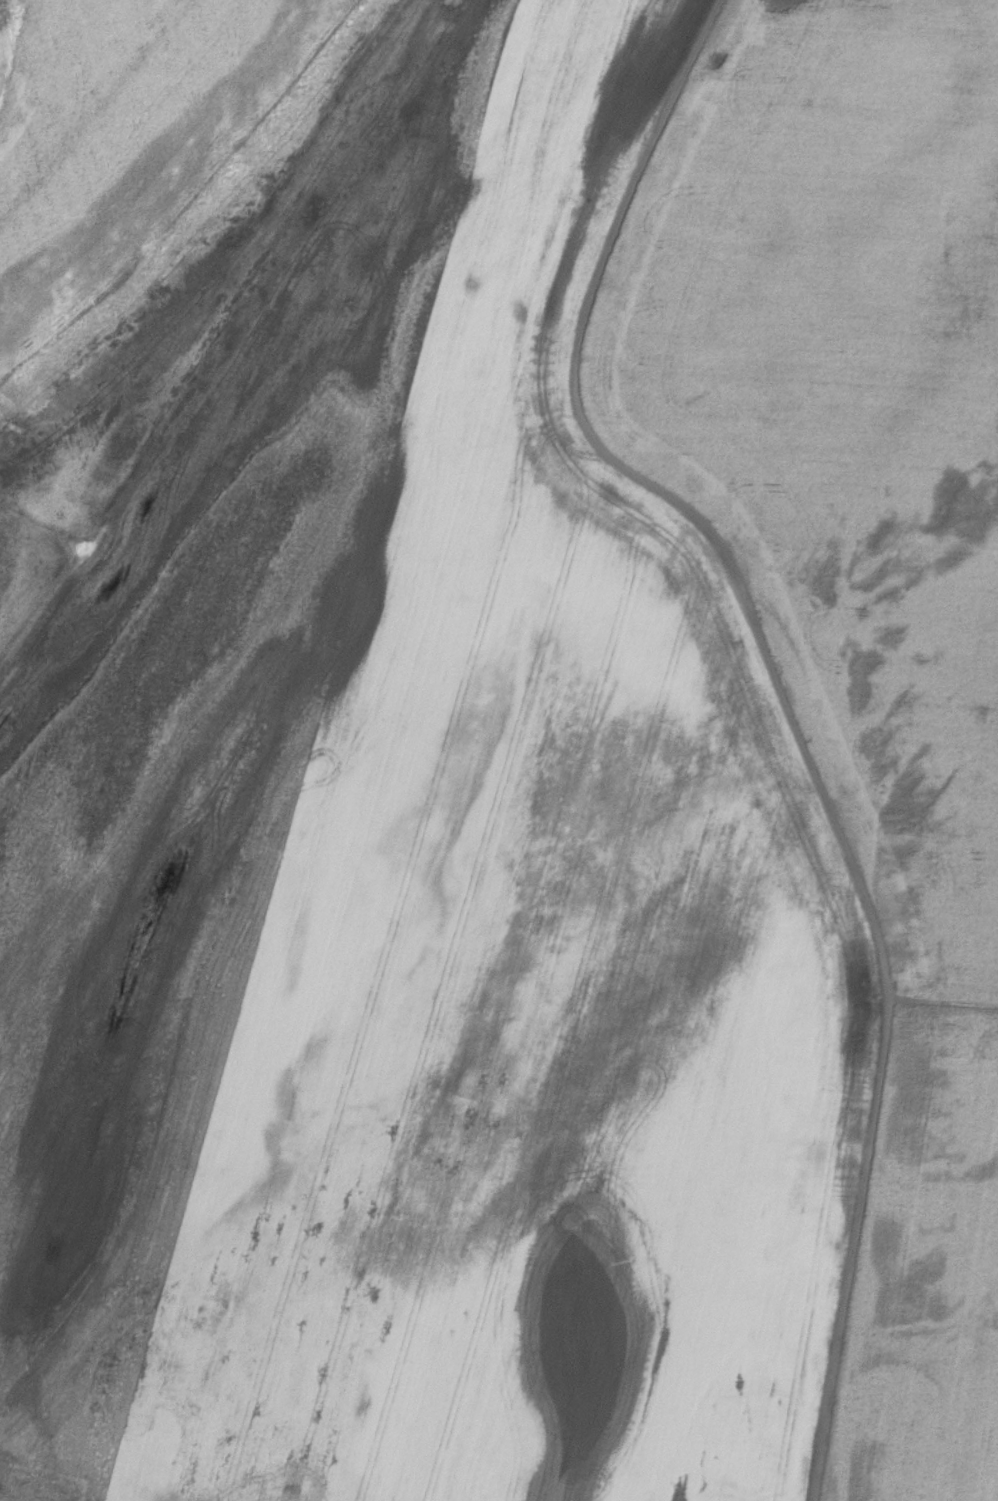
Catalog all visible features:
road: (257, 335)
road: (668, 494)
crop: (499, 750)
road: (852, 1252)

